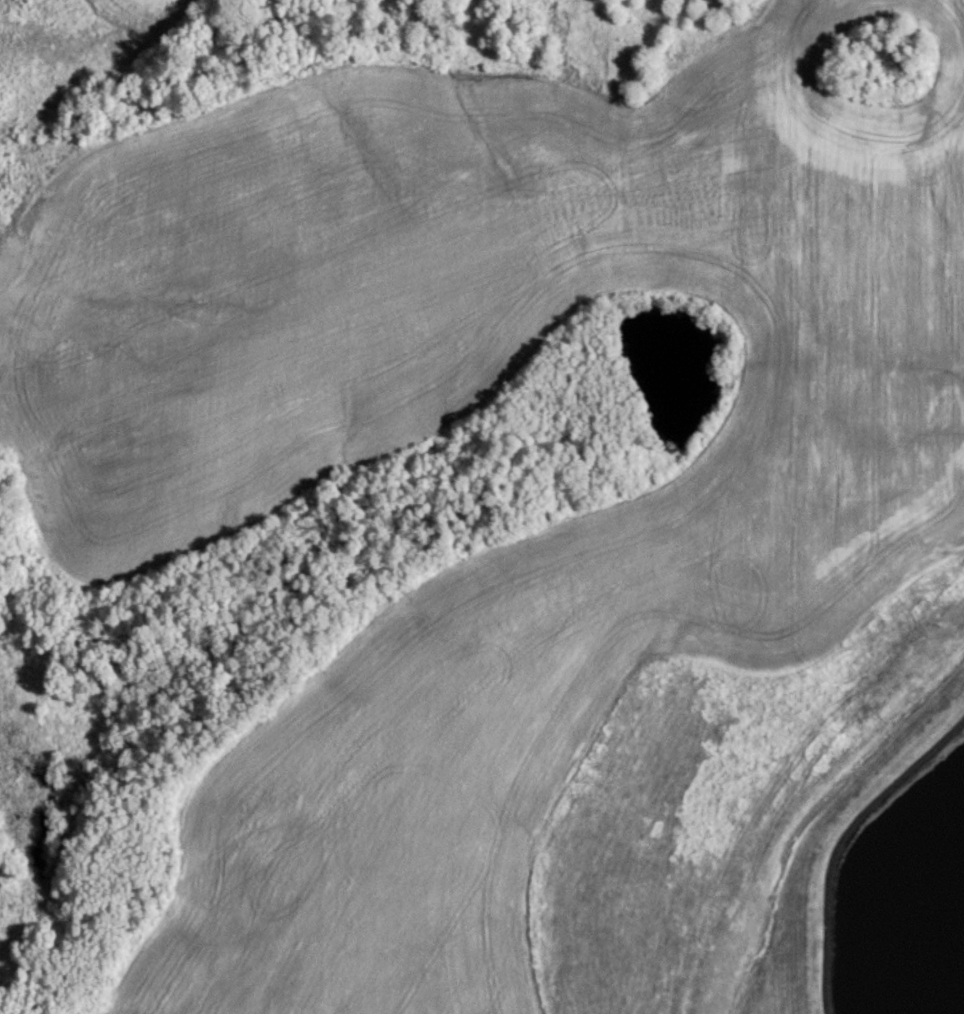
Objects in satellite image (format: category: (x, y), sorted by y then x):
park: (879, 61)

